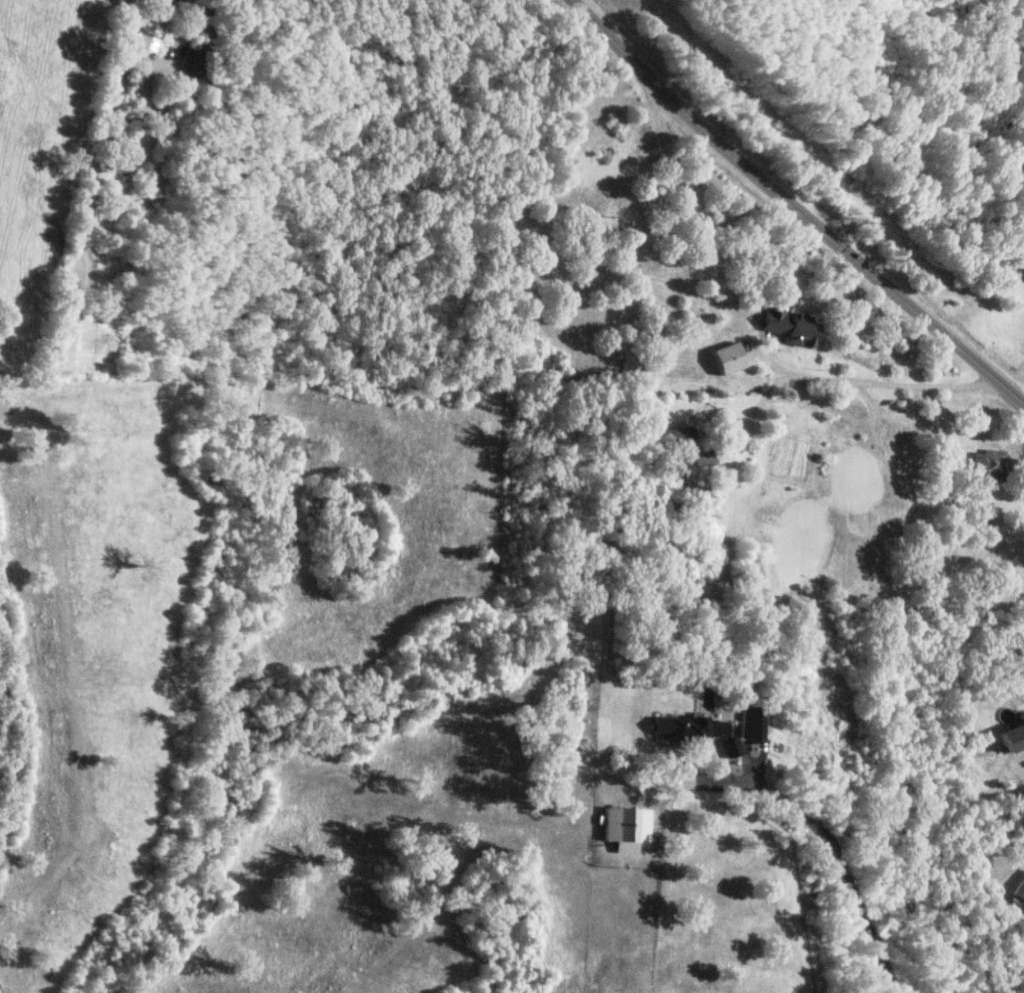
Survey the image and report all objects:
building: (149, 35)
building: (196, 62)
building: (114, 129)
road: (791, 209)
building: (789, 327)
road: (745, 334)
building: (63, 346)
building: (726, 359)
building: (678, 436)
building: (702, 457)
building: (988, 466)
building: (1023, 480)
building: (749, 723)
building: (685, 728)
building: (1013, 734)
building: (728, 747)
building: (625, 827)
building: (1019, 889)

